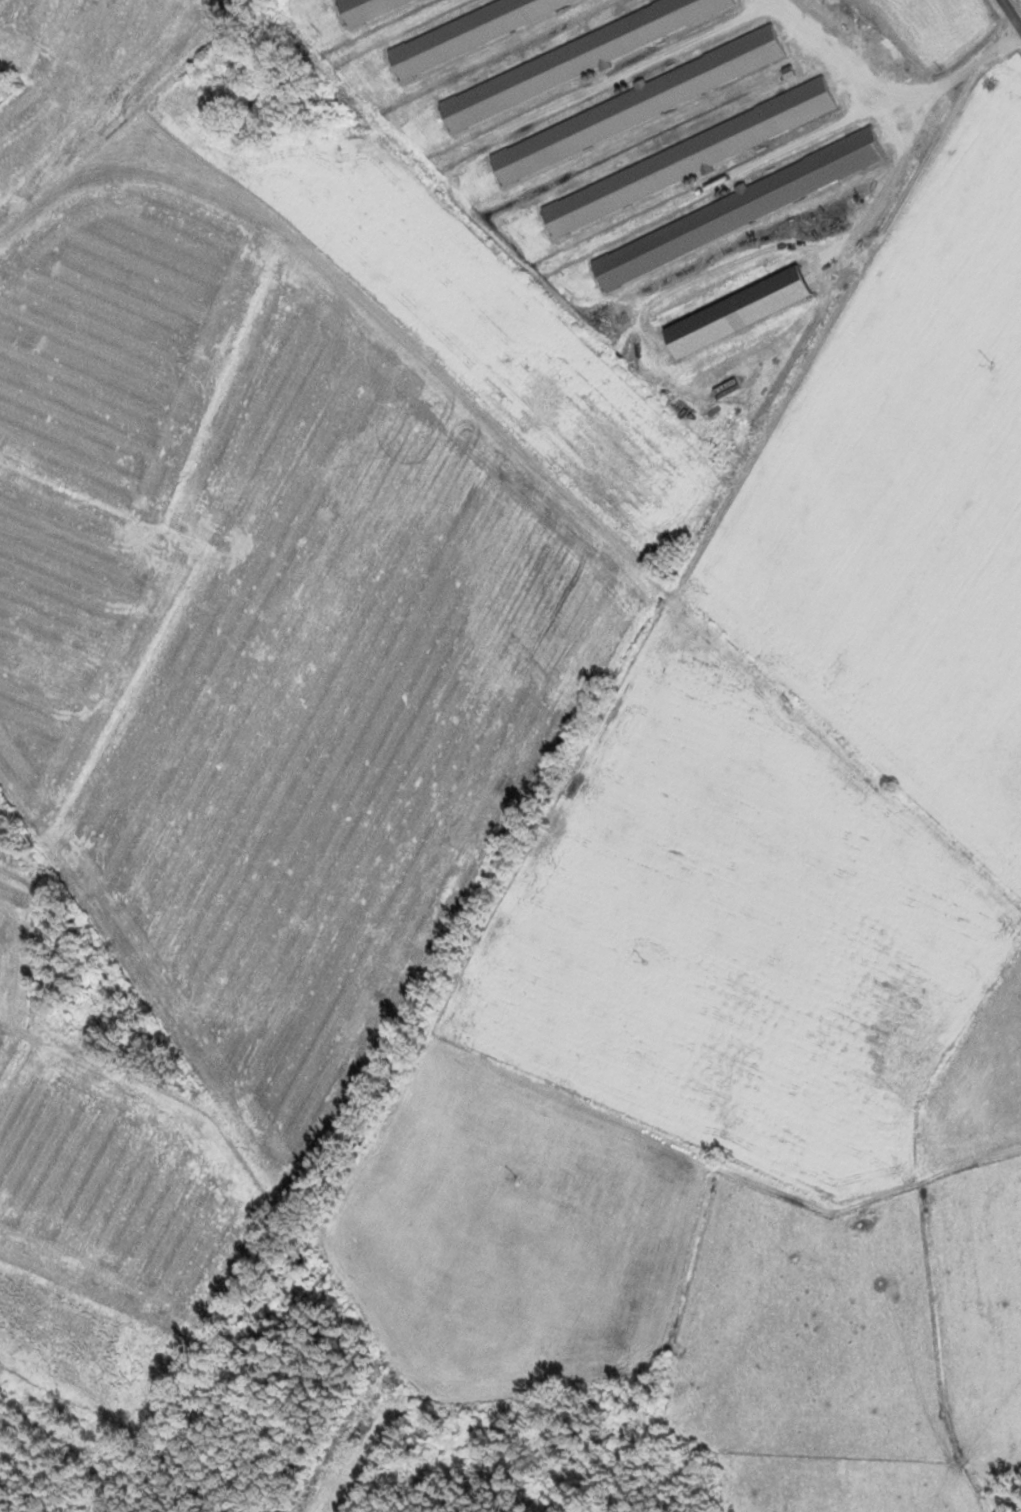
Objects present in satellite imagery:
road: (1012, 13)
building: (464, 29)
building: (578, 57)
building: (251, 99)
road: (97, 145)
building: (735, 209)

